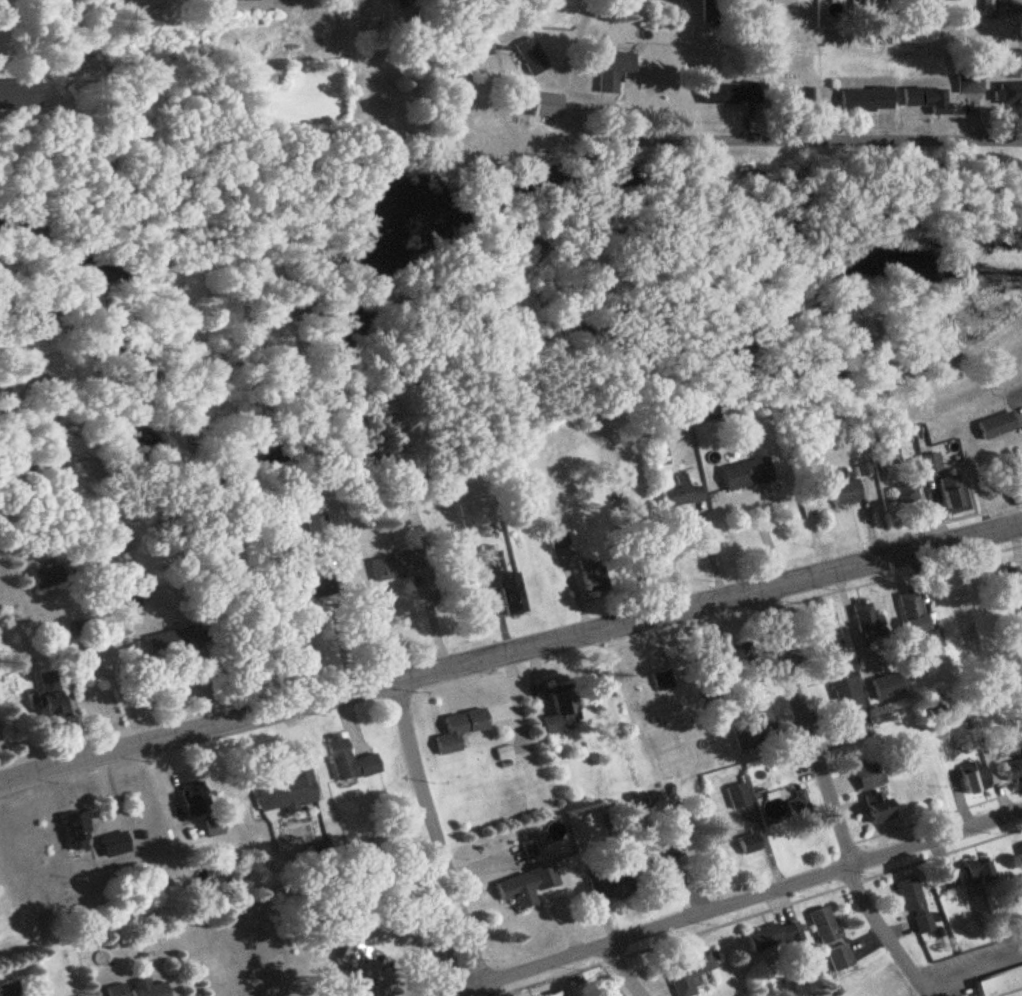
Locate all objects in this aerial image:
building: (242, 0)
road: (0, 1)
building: (532, 57)
building: (615, 72)
road: (562, 79)
building: (970, 84)
building: (732, 94)
building: (1009, 94)
building: (867, 100)
building: (928, 100)
building: (547, 105)
road: (795, 139)
river: (380, 238)
building: (998, 426)
building: (931, 464)
building: (864, 469)
building: (747, 475)
building: (952, 492)
building: (683, 494)
building: (847, 494)
building: (908, 494)
building: (319, 532)
building: (399, 565)
building: (52, 577)
building: (499, 578)
building: (598, 578)
building: (915, 613)
road: (417, 620)
building: (868, 620)
building: (825, 633)
building: (936, 639)
building: (173, 643)
road: (510, 652)
building: (738, 653)
building: (665, 680)
building: (888, 687)
building: (51, 697)
building: (850, 701)
building: (565, 714)
building: (752, 723)
building: (470, 726)
building: (1012, 744)
building: (506, 753)
building: (351, 761)
building: (1014, 770)
building: (976, 778)
building: (292, 789)
building: (876, 791)
building: (740, 798)
road: (831, 799)
building: (197, 800)
building: (797, 805)
building: (79, 833)
road: (436, 839)
building: (751, 843)
building: (116, 845)
building: (980, 873)
building: (612, 885)
building: (527, 886)
road: (732, 903)
building: (915, 903)
building: (826, 926)
building: (773, 936)
building: (841, 958)
building: (366, 962)
road: (623, 971)
building: (691, 972)
building: (1002, 984)
building: (149, 988)
building: (9, 990)
building: (118, 990)
building: (558, 994)

